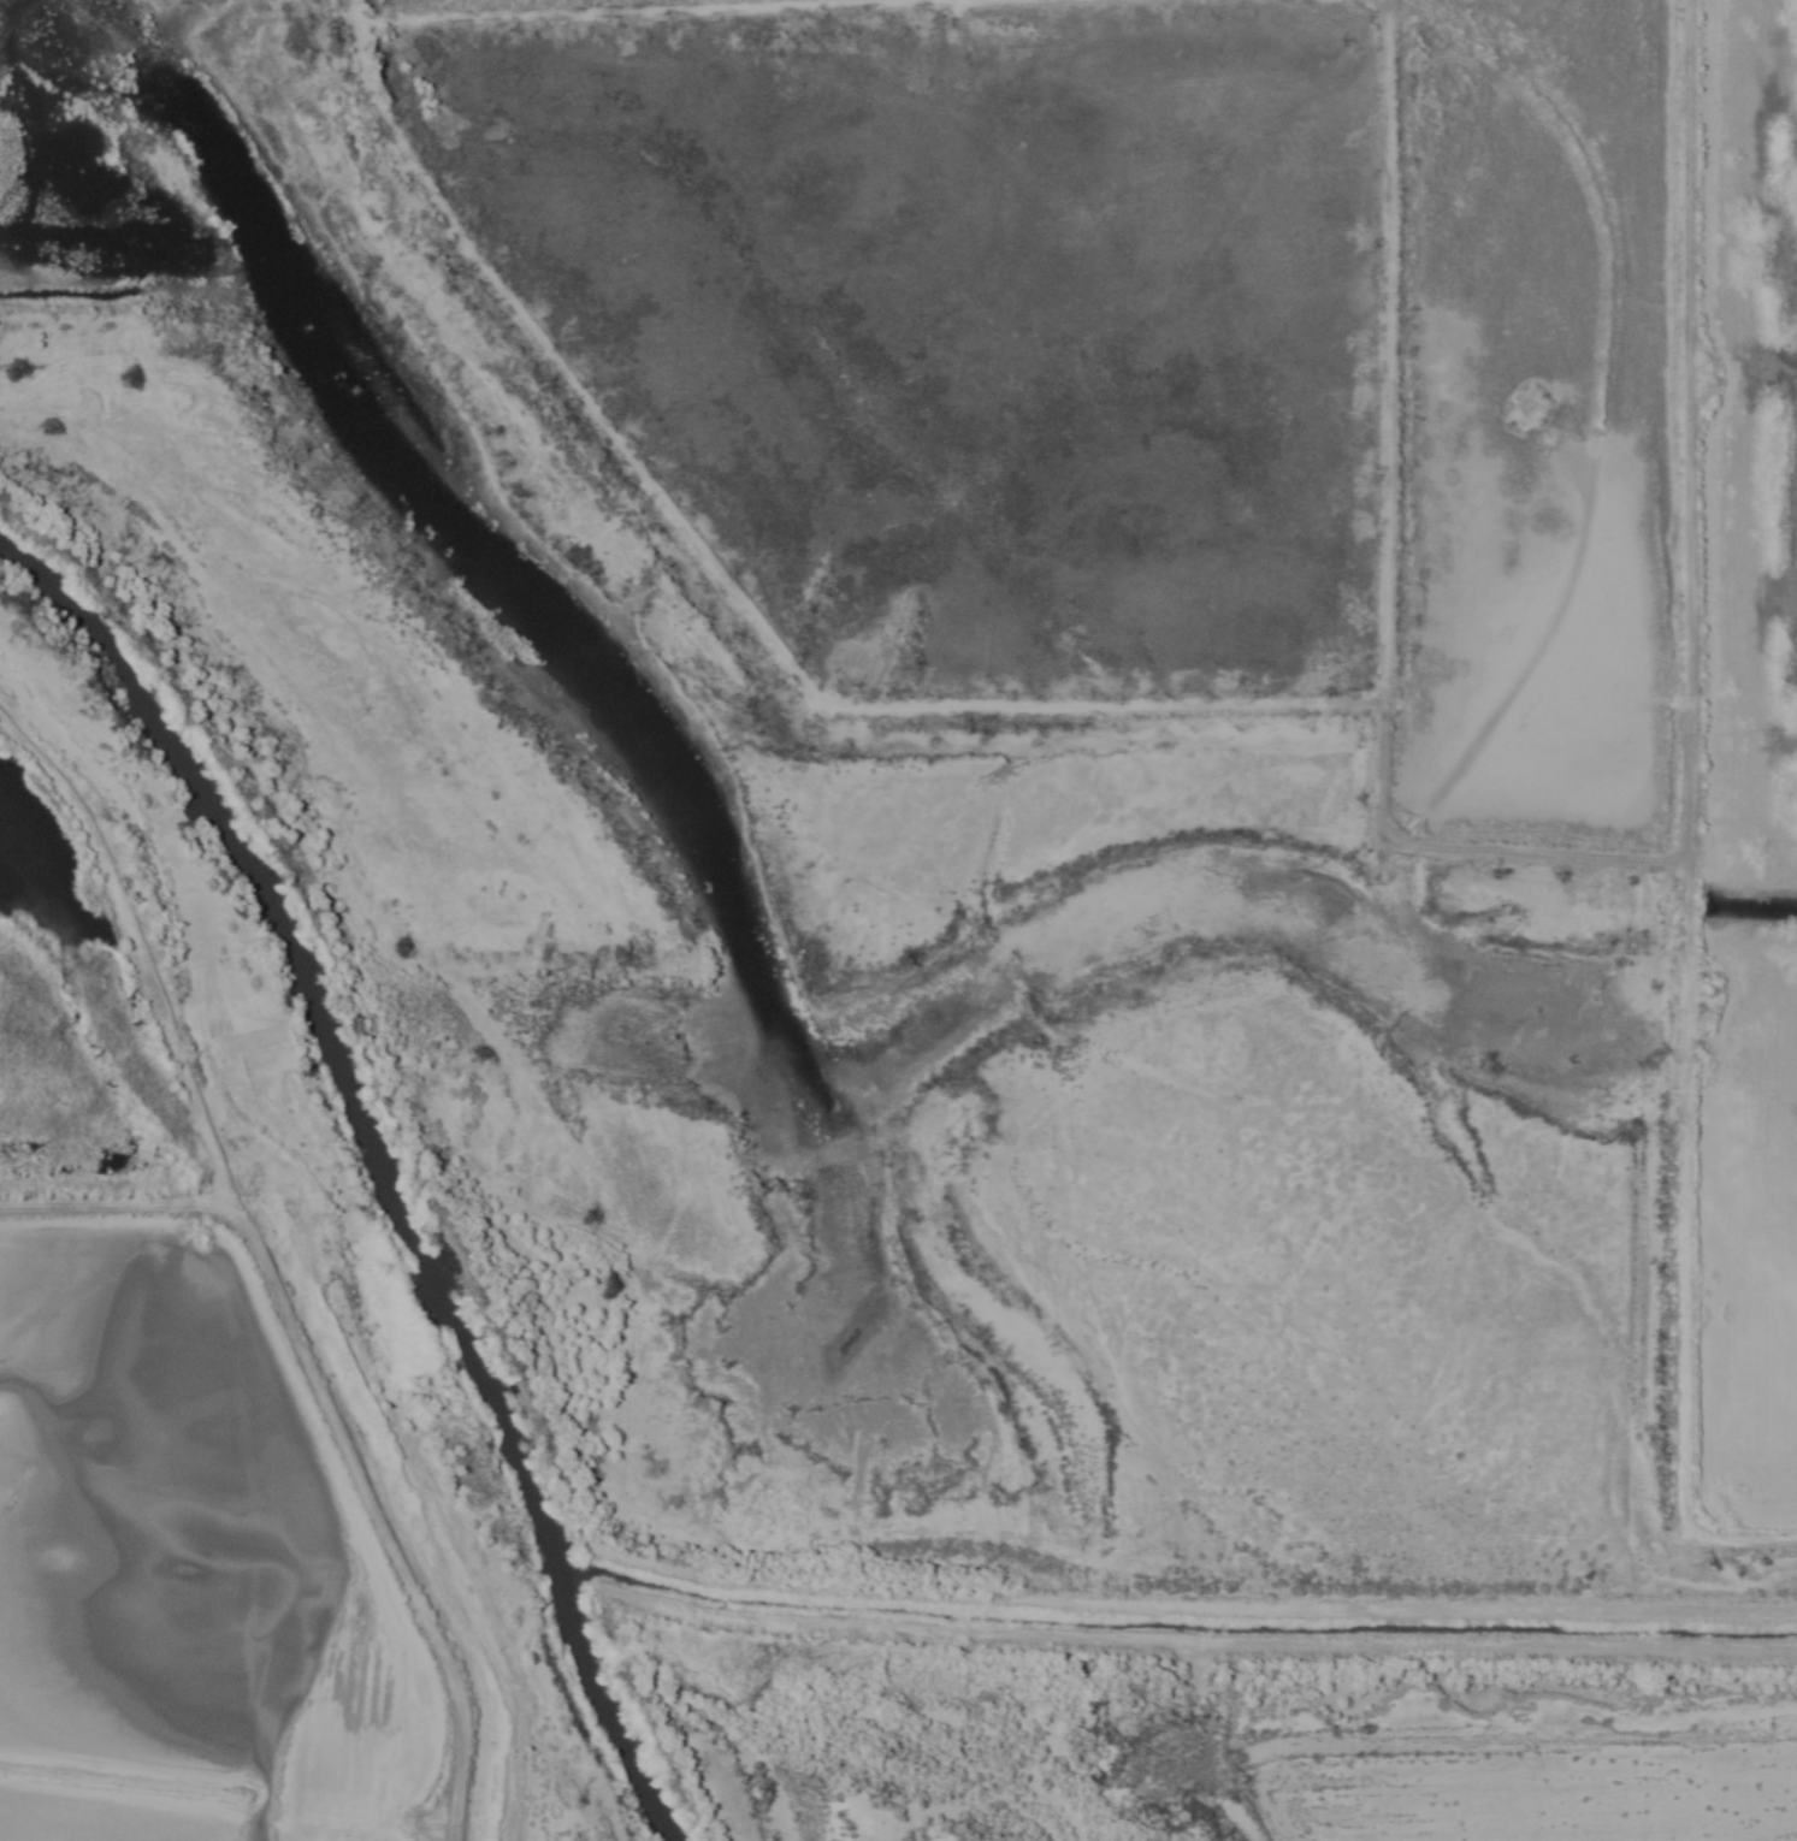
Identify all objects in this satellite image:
river: (380, 1173)
road: (1527, 1671)
road: (1202, 1747)

